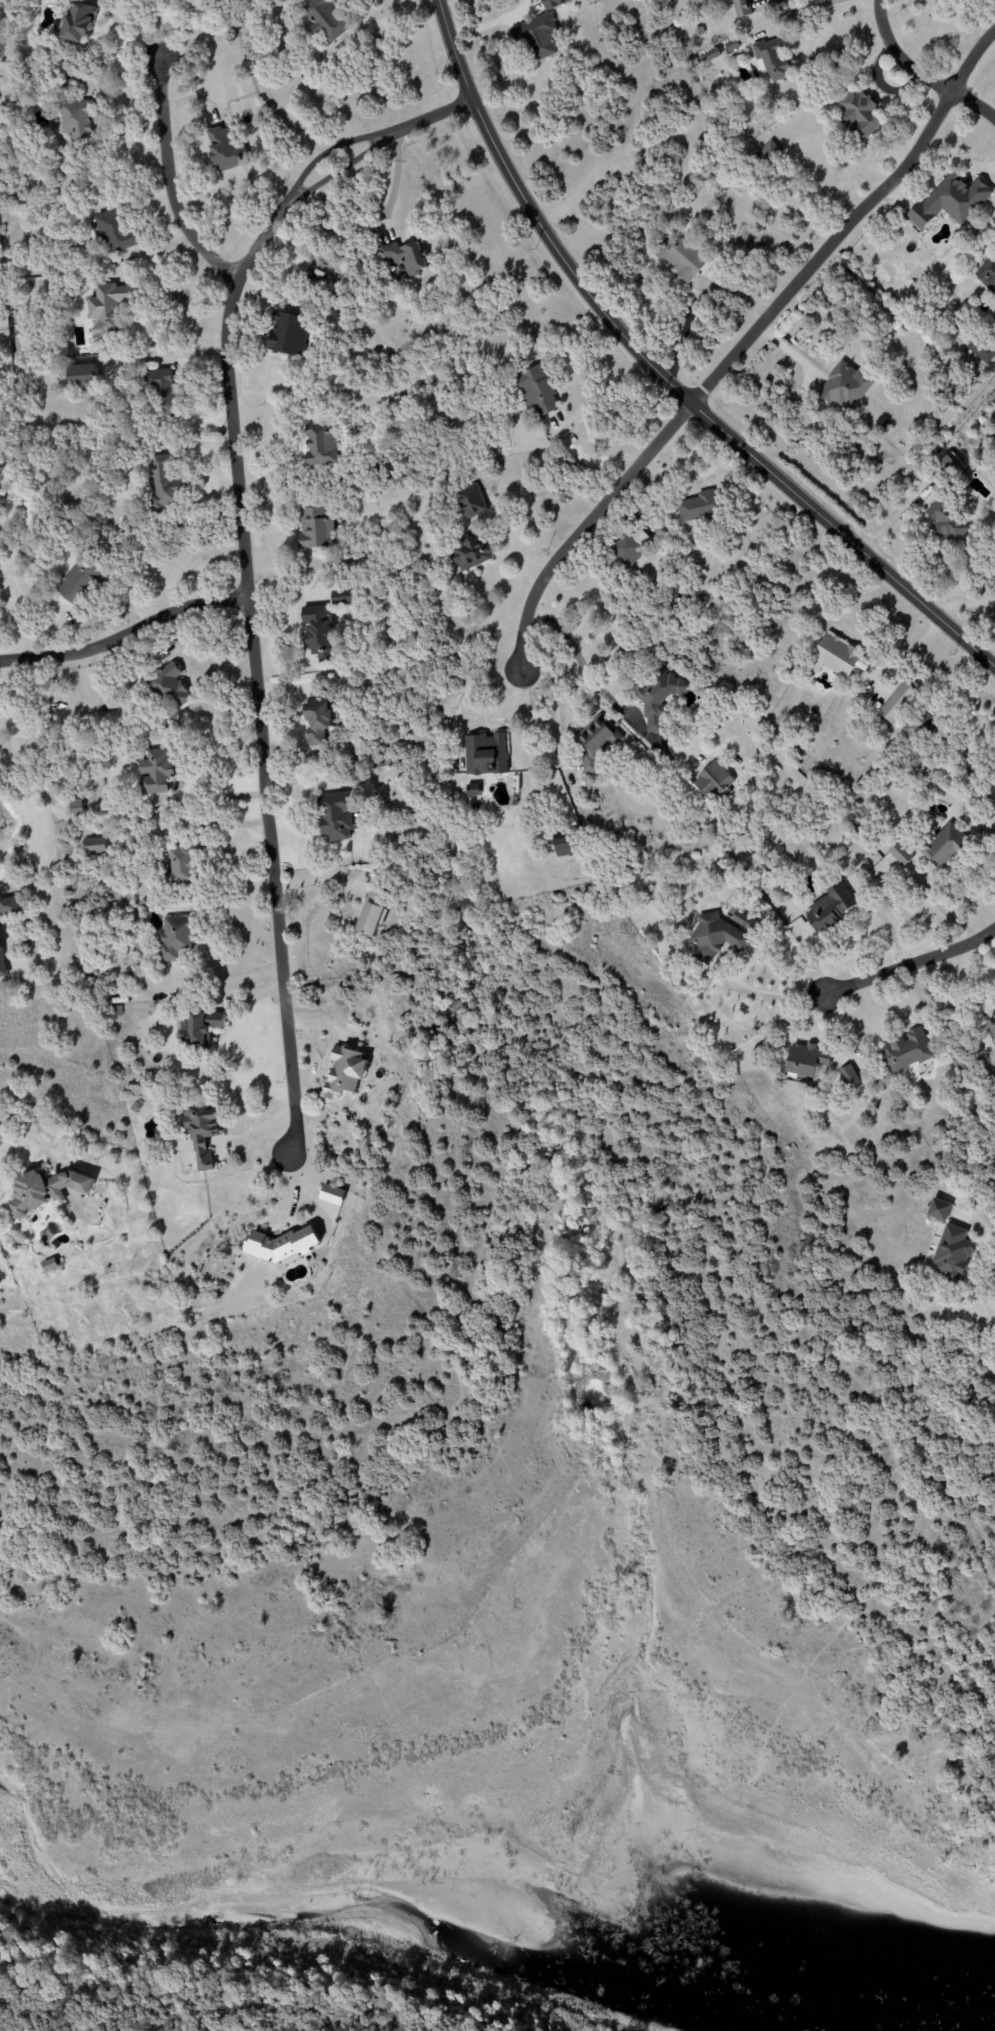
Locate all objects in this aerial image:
road: (770, 0)
building: (555, 3)
building: (742, 8)
road: (795, 12)
road: (395, 17)
building: (327, 19)
building: (78, 23)
building: (538, 36)
road: (899, 57)
building: (770, 59)
road: (970, 60)
road: (973, 104)
building: (859, 114)
building: (77, 119)
building: (224, 148)
building: (769, 153)
road: (956, 159)
road: (168, 184)
building: (950, 201)
building: (114, 232)
building: (404, 256)
building: (682, 257)
building: (987, 274)
building: (107, 309)
building: (337, 311)
building: (288, 333)
building: (981, 349)
road: (718, 371)
building: (83, 375)
road: (662, 376)
building: (845, 386)
building: (536, 390)
road: (602, 391)
building: (165, 392)
building: (320, 446)
building: (950, 465)
building: (164, 482)
building: (470, 501)
building: (699, 506)
building: (946, 522)
building: (316, 528)
building: (624, 548)
building: (470, 552)
road: (245, 564)
building: (79, 582)
building: (342, 597)
building: (318, 630)
road: (125, 634)
road: (907, 655)
building: (838, 657)
road: (593, 682)
building: (170, 687)
building: (659, 700)
building: (898, 702)
road: (477, 711)
building: (317, 719)
building: (596, 742)
building: (486, 754)
building: (155, 771)
building: (713, 781)
building: (473, 790)
building: (76, 807)
building: (335, 816)
building: (564, 846)
building: (943, 846)
building: (97, 847)
building: (900, 853)
building: (181, 866)
building: (879, 874)
road: (319, 881)
building: (9, 905)
building: (829, 908)
building: (370, 919)
building: (715, 937)
building: (176, 938)
building: (1, 964)
road: (911, 965)
road: (773, 998)
building: (196, 1029)
road: (524, 1032)
building: (906, 1051)
building: (806, 1059)
building: (345, 1071)
building: (848, 1076)
road: (25, 1128)
building: (203, 1135)
building: (45, 1189)
building: (332, 1194)
road: (301, 1196)
building: (938, 1209)
building: (281, 1245)
road: (990, 1250)
building: (951, 1254)
building: (50, 1265)
park: (965, 1825)
road: (268, 2011)

